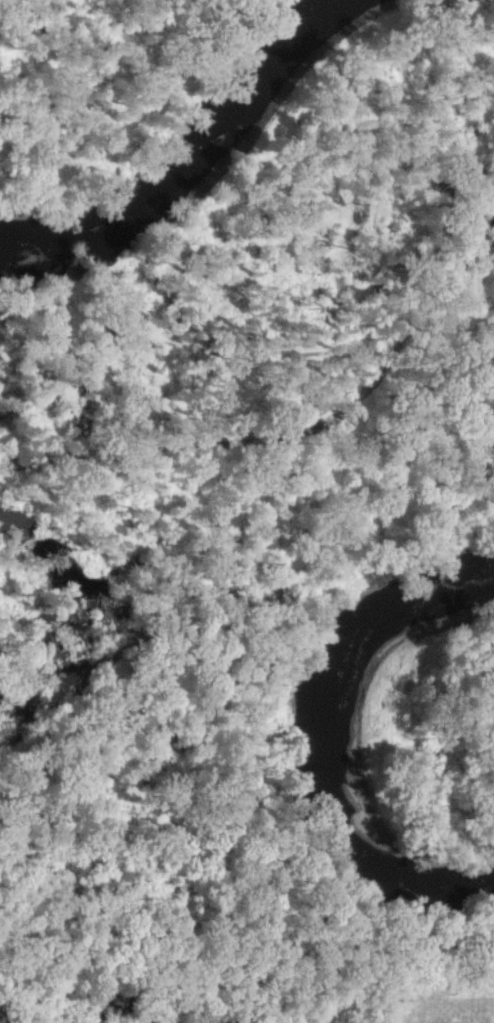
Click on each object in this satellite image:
river: (197, 161)
river: (323, 735)

